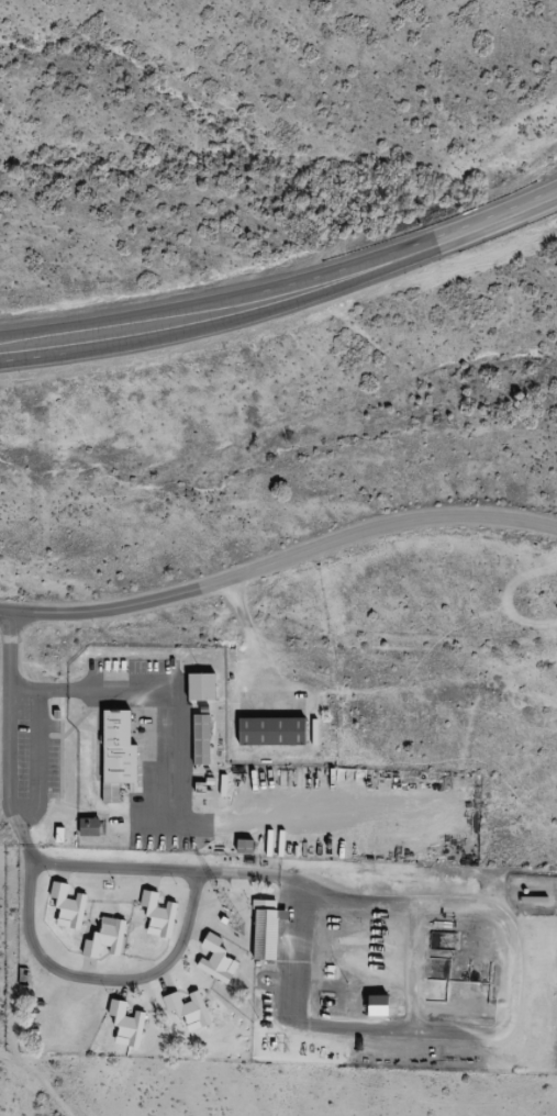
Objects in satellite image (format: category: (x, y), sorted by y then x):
road: (318, 282)
road: (34, 342)
road: (278, 560)
building: (209, 679)
building: (198, 687)
building: (279, 724)
building: (208, 734)
building: (198, 739)
building: (124, 748)
road: (36, 759)
road: (168, 814)
building: (97, 823)
building: (86, 827)
building: (66, 830)
building: (242, 847)
road: (35, 852)
building: (75, 901)
building: (65, 907)
building: (165, 908)
building: (155, 914)
building: (274, 926)
building: (112, 931)
building: (223, 952)
building: (213, 960)
road: (93, 979)
building: (386, 998)
building: (198, 1002)
building: (185, 1008)
building: (135, 1015)
building: (123, 1025)
road: (506, 1028)

